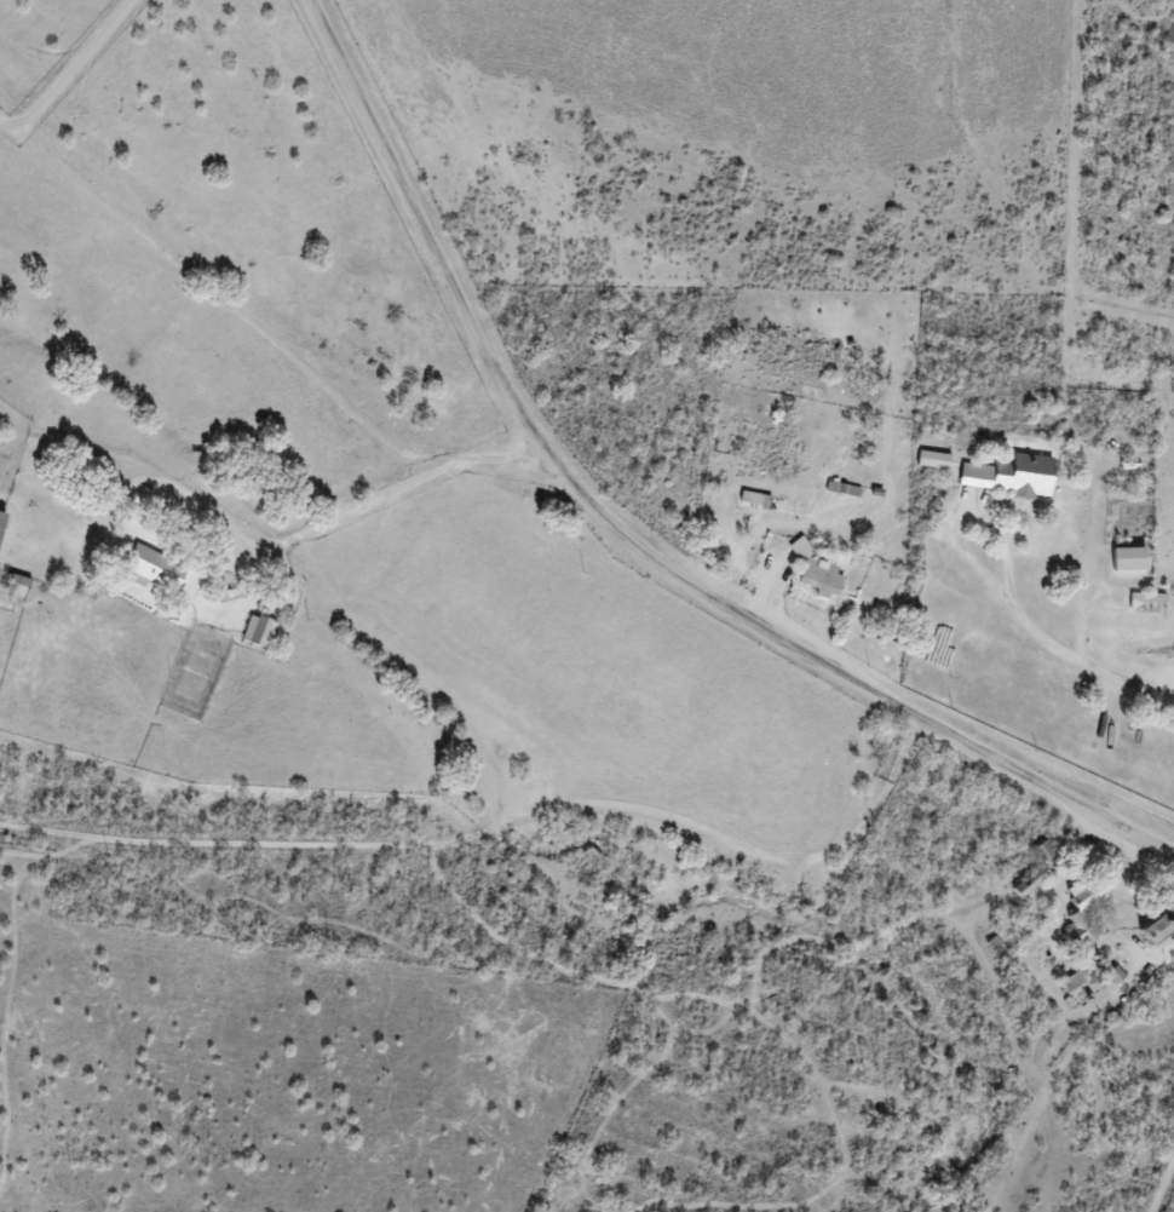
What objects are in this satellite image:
road: (482, 453)
building: (1012, 476)
building: (752, 498)
road: (359, 502)
building: (2, 524)
road: (629, 540)
building: (1132, 559)
building: (155, 569)
building: (0, 570)
building: (822, 580)
building: (1150, 598)
building: (260, 631)
road: (511, 827)
building: (1032, 880)
building: (1087, 911)
building: (1162, 927)

